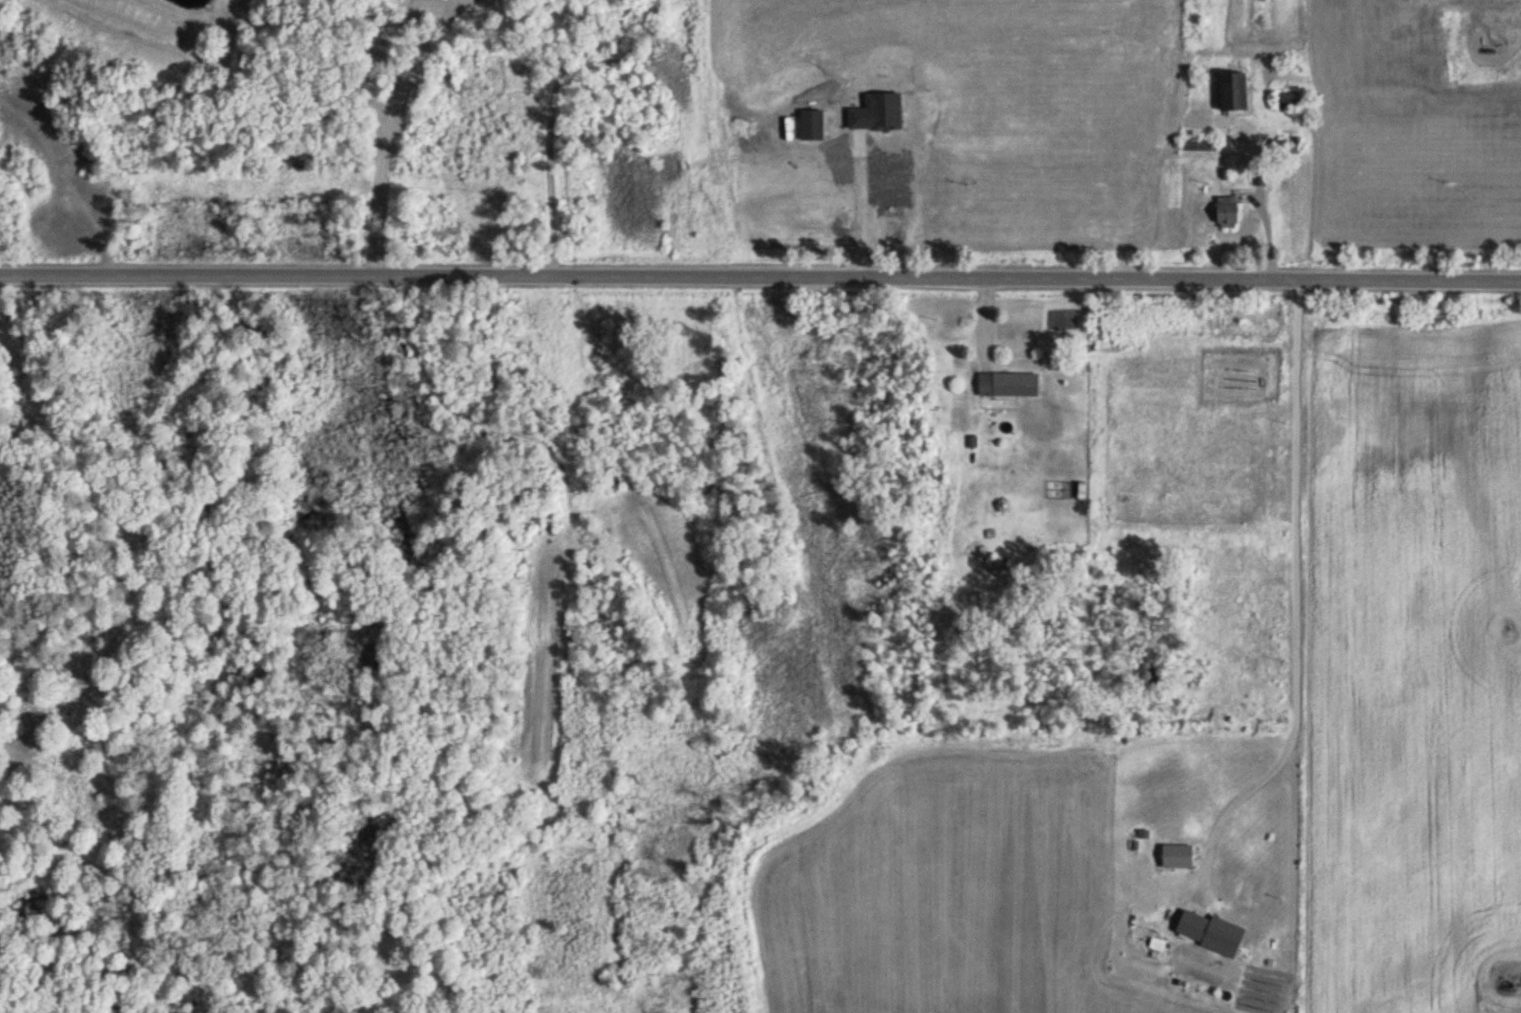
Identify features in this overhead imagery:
road: (1519, 8)
petroleum well: (1490, 50)
building: (1234, 91)
building: (1289, 101)
road: (392, 127)
building: (1288, 148)
building: (1228, 212)
road: (760, 276)
building: (1009, 384)
building: (995, 563)
road: (1294, 593)
building: (1178, 856)
building: (1224, 937)
petroleum well: (1519, 991)

